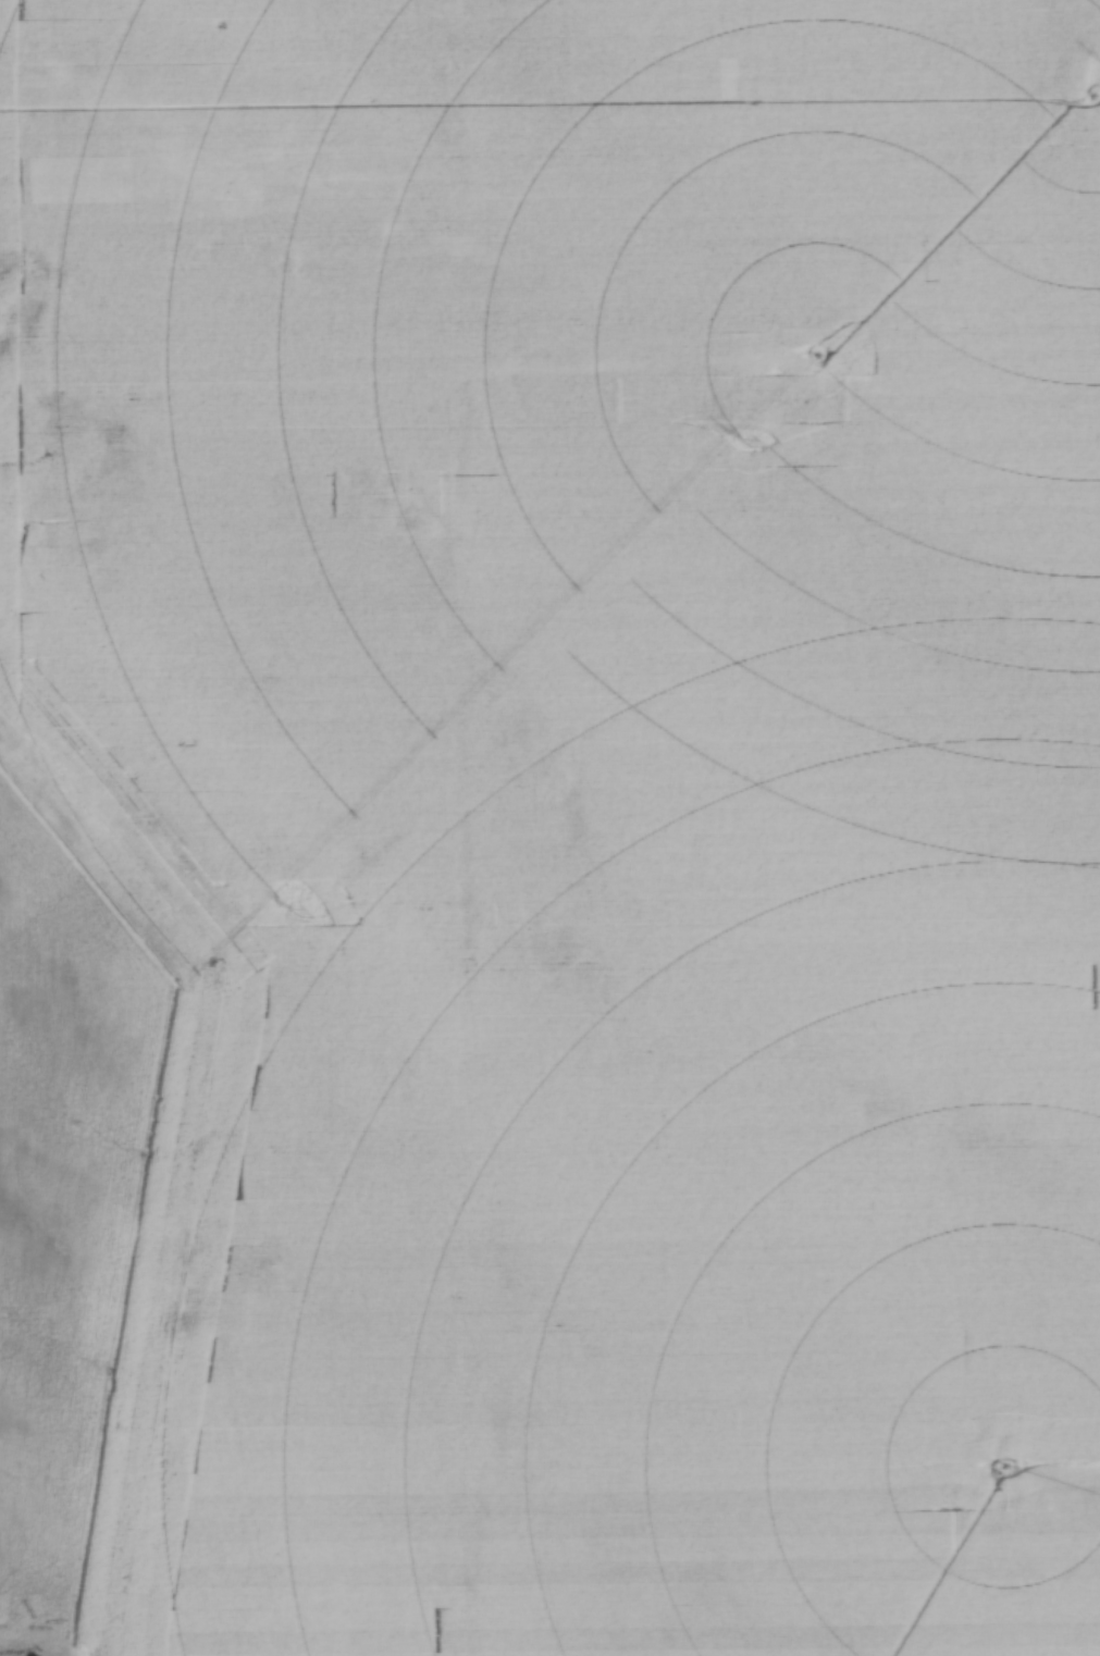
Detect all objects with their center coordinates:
power tower: (746, 441)
power tower: (296, 905)

